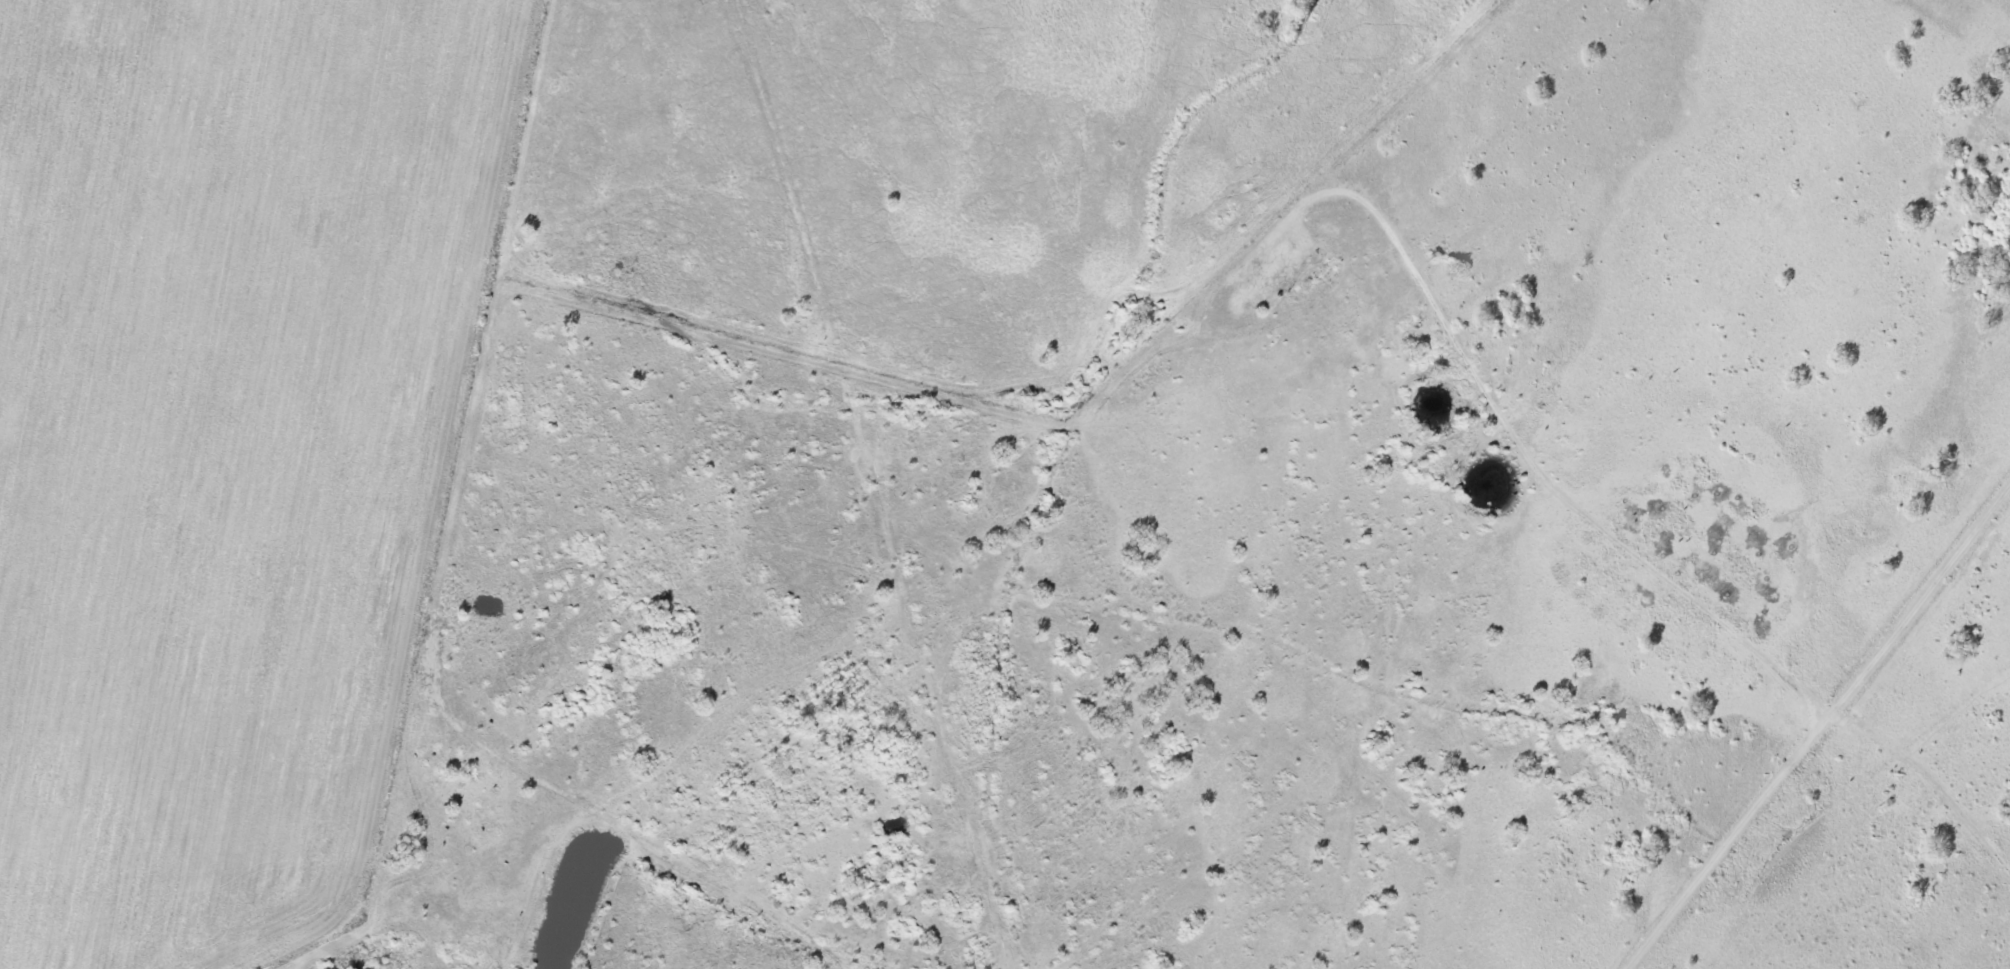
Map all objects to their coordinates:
road: (1677, 596)
road: (1819, 727)
road: (990, 910)

